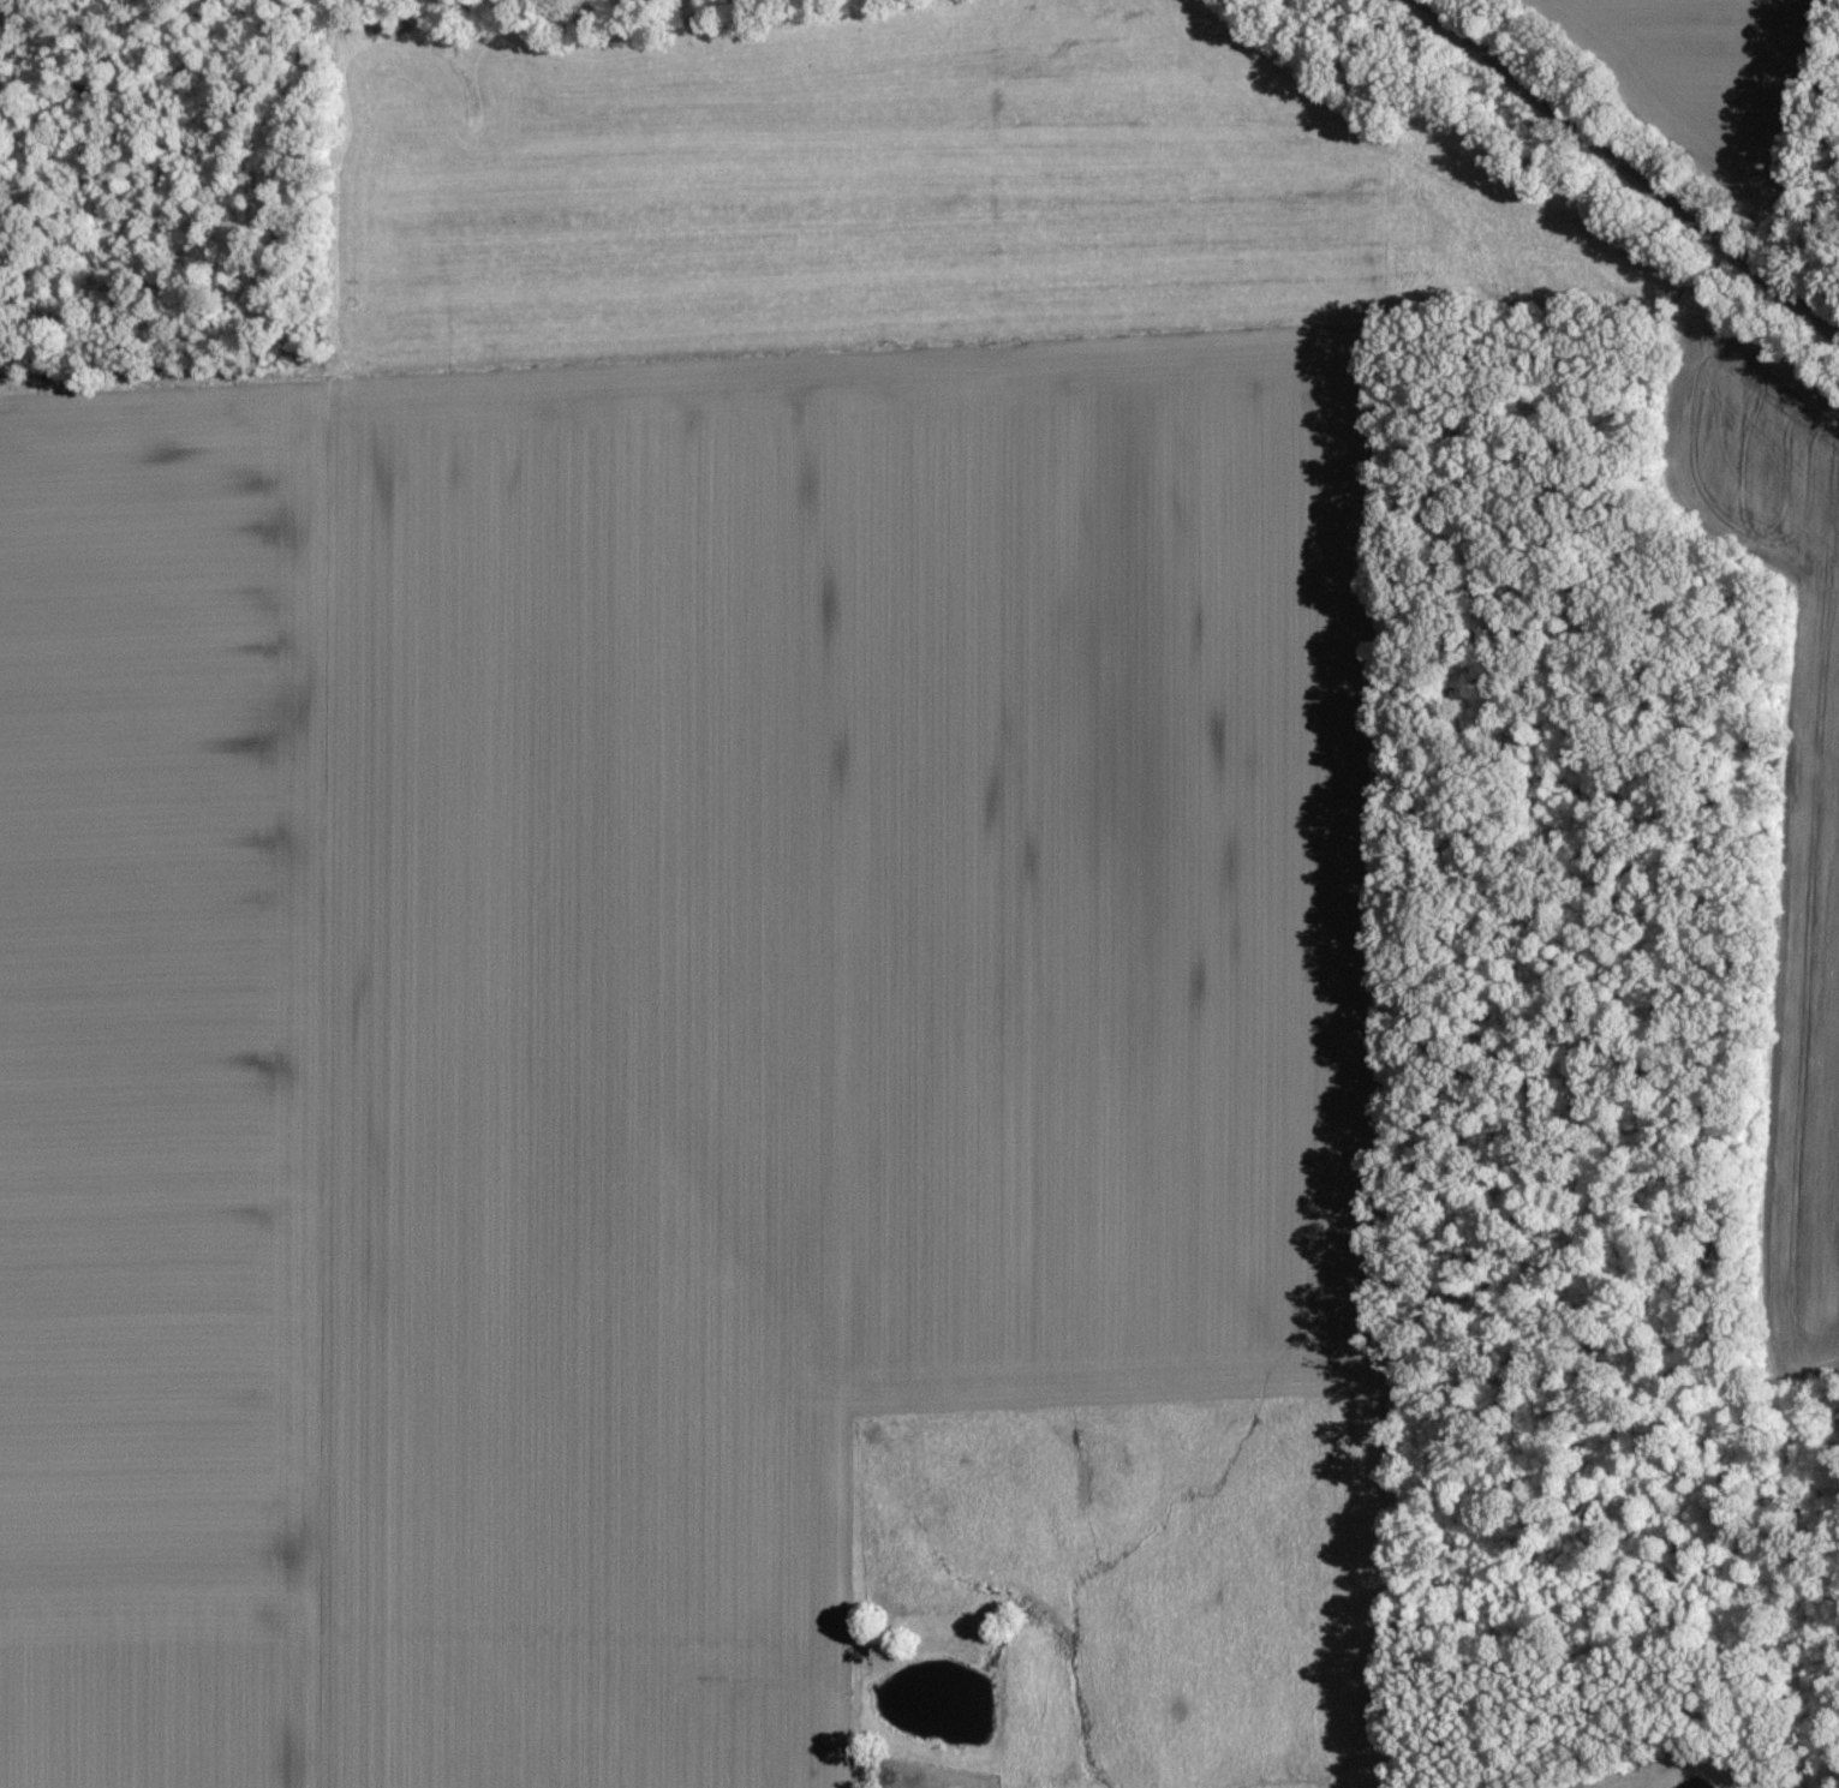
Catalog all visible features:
railway: (1601, 186)

